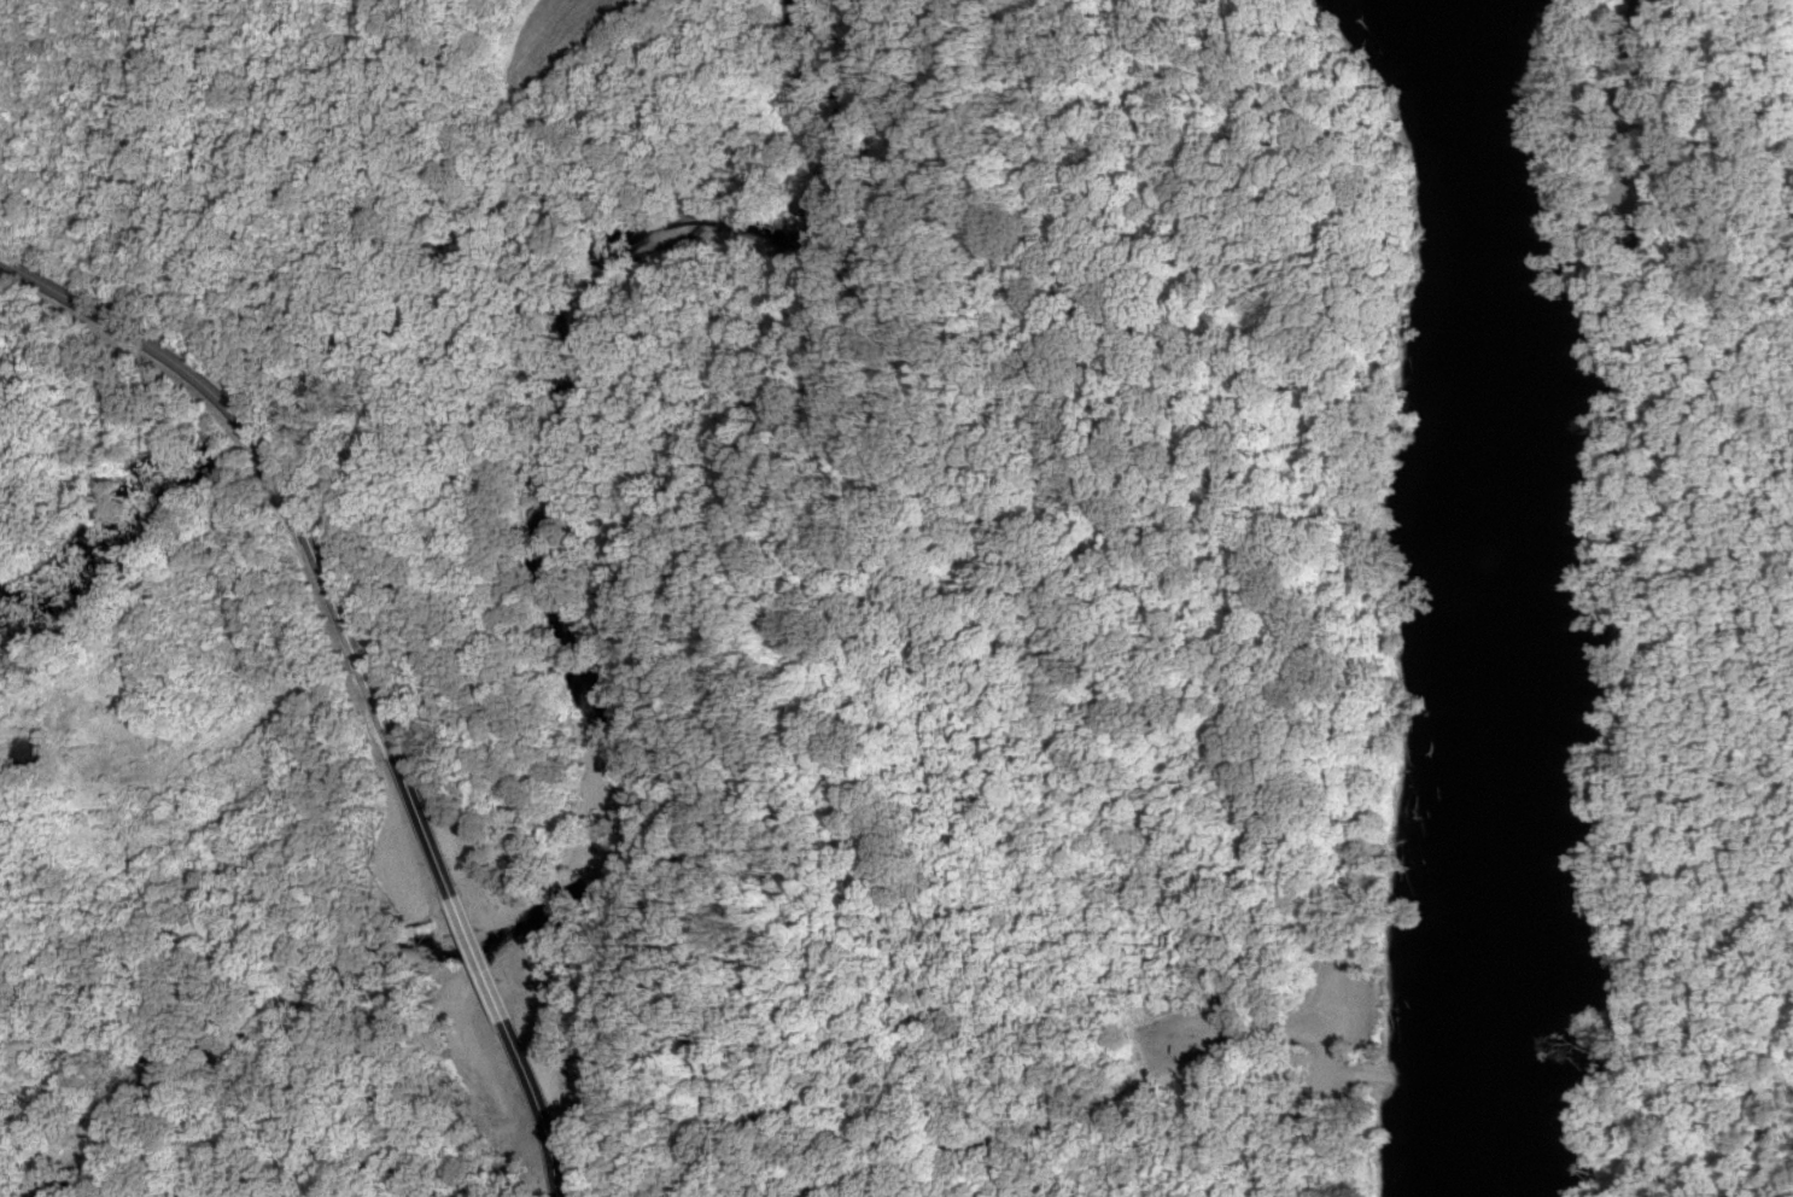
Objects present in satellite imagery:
road: (485, 584)
river: (1494, 597)
road: (362, 668)
parking lot: (1228, 1026)
parking lot: (1196, 1030)
road: (1053, 1120)

